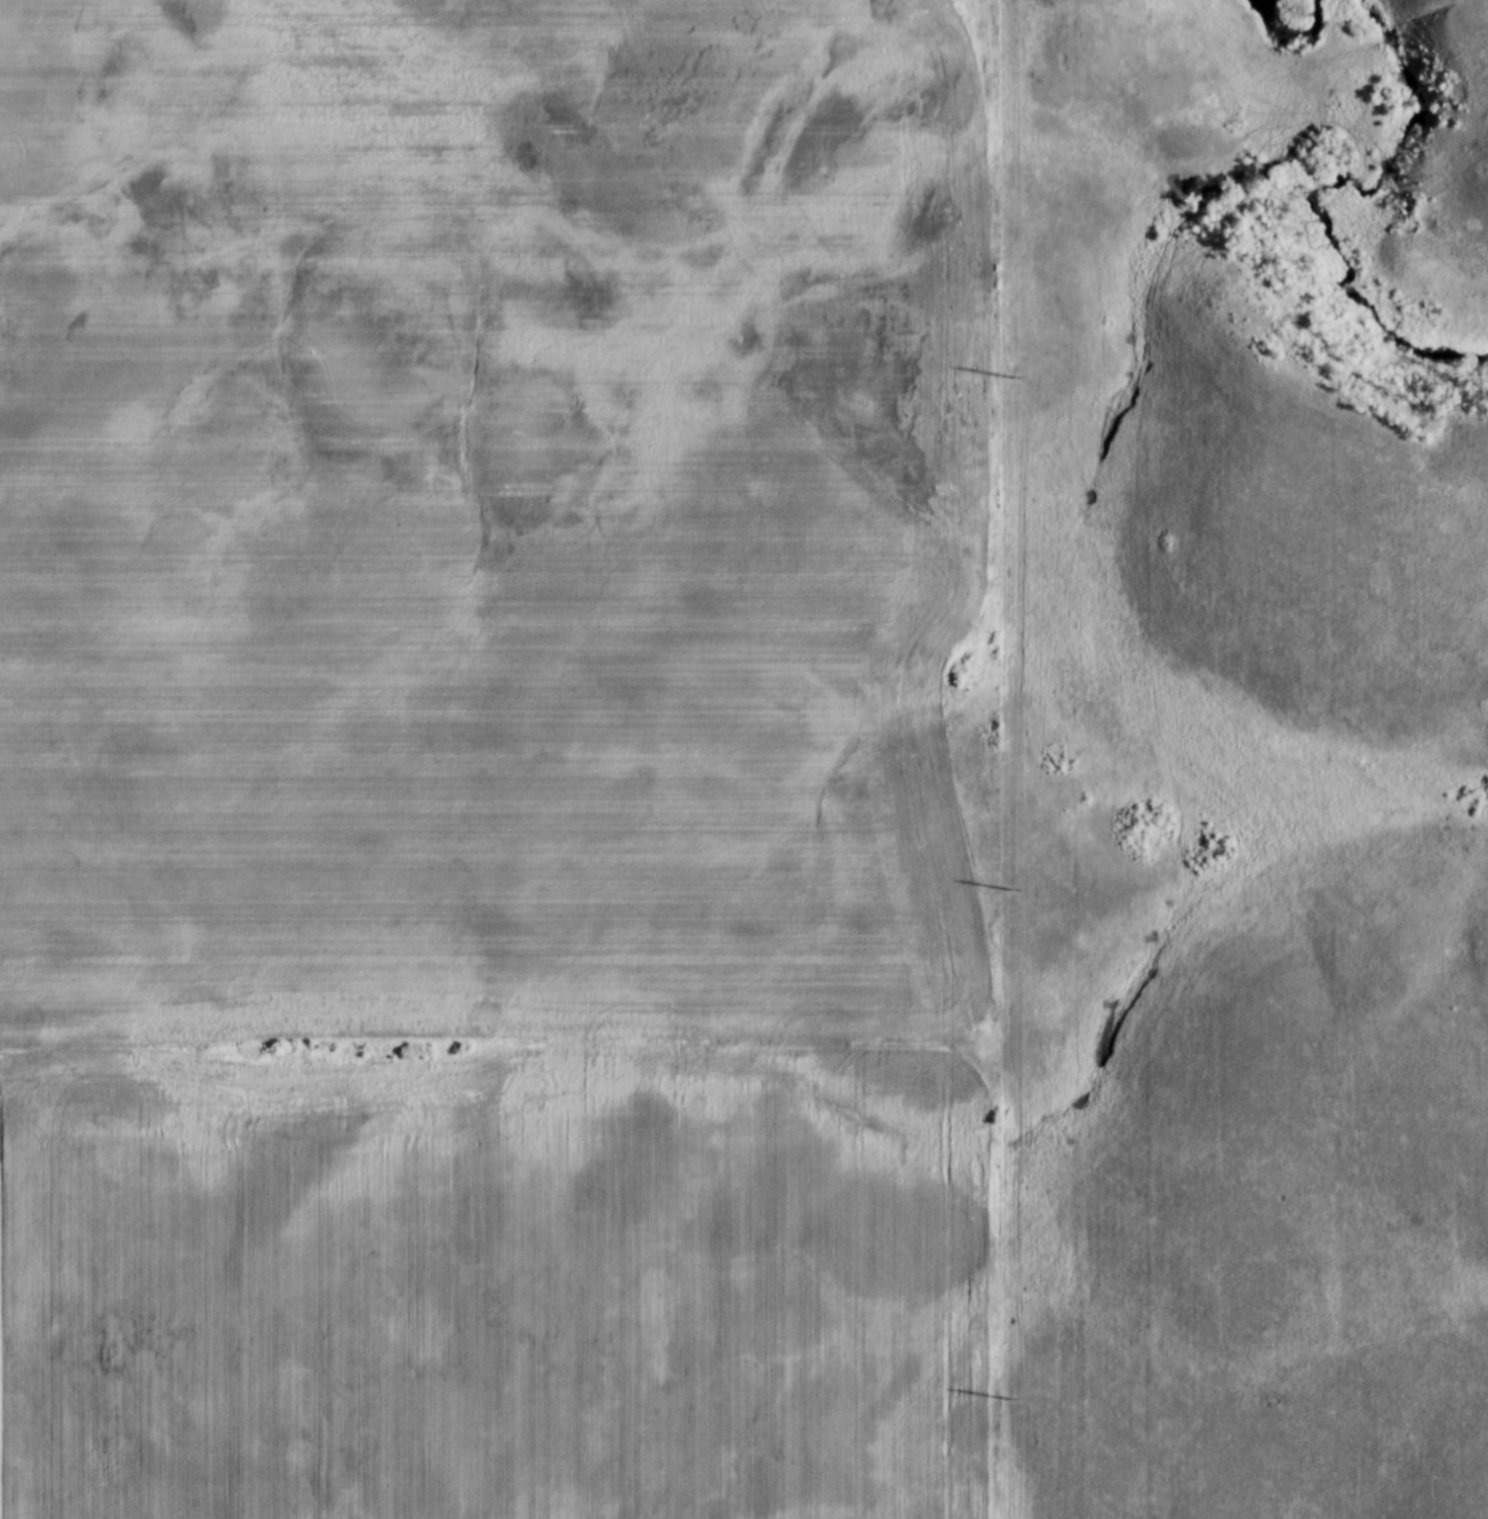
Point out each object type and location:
road: (89, 1042)

